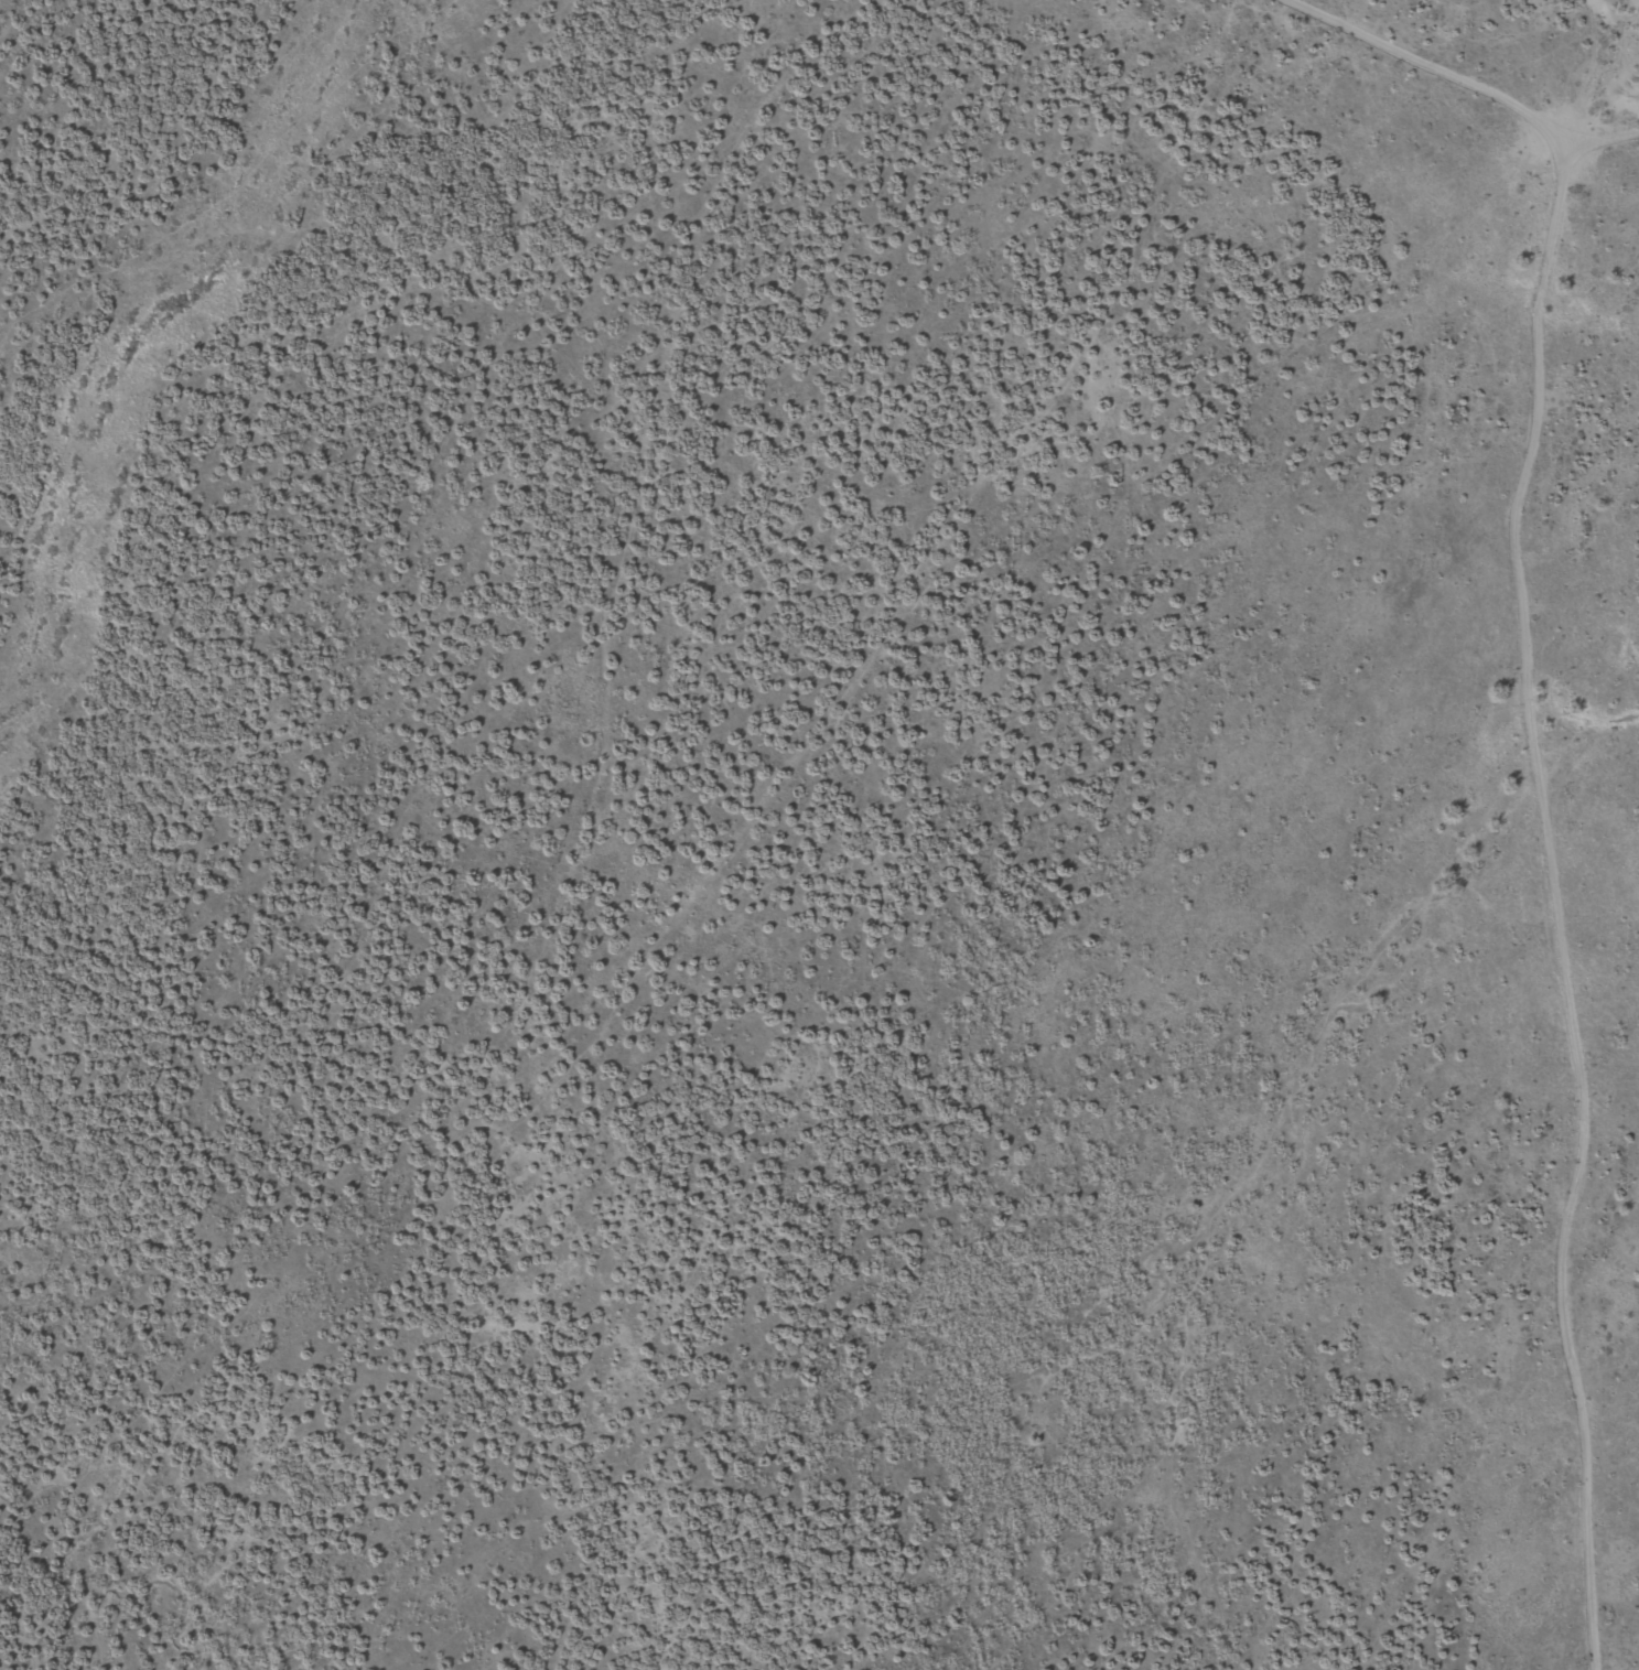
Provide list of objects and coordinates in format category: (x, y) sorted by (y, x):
road: (1469, 64)
road: (1597, 165)
road: (1570, 879)

